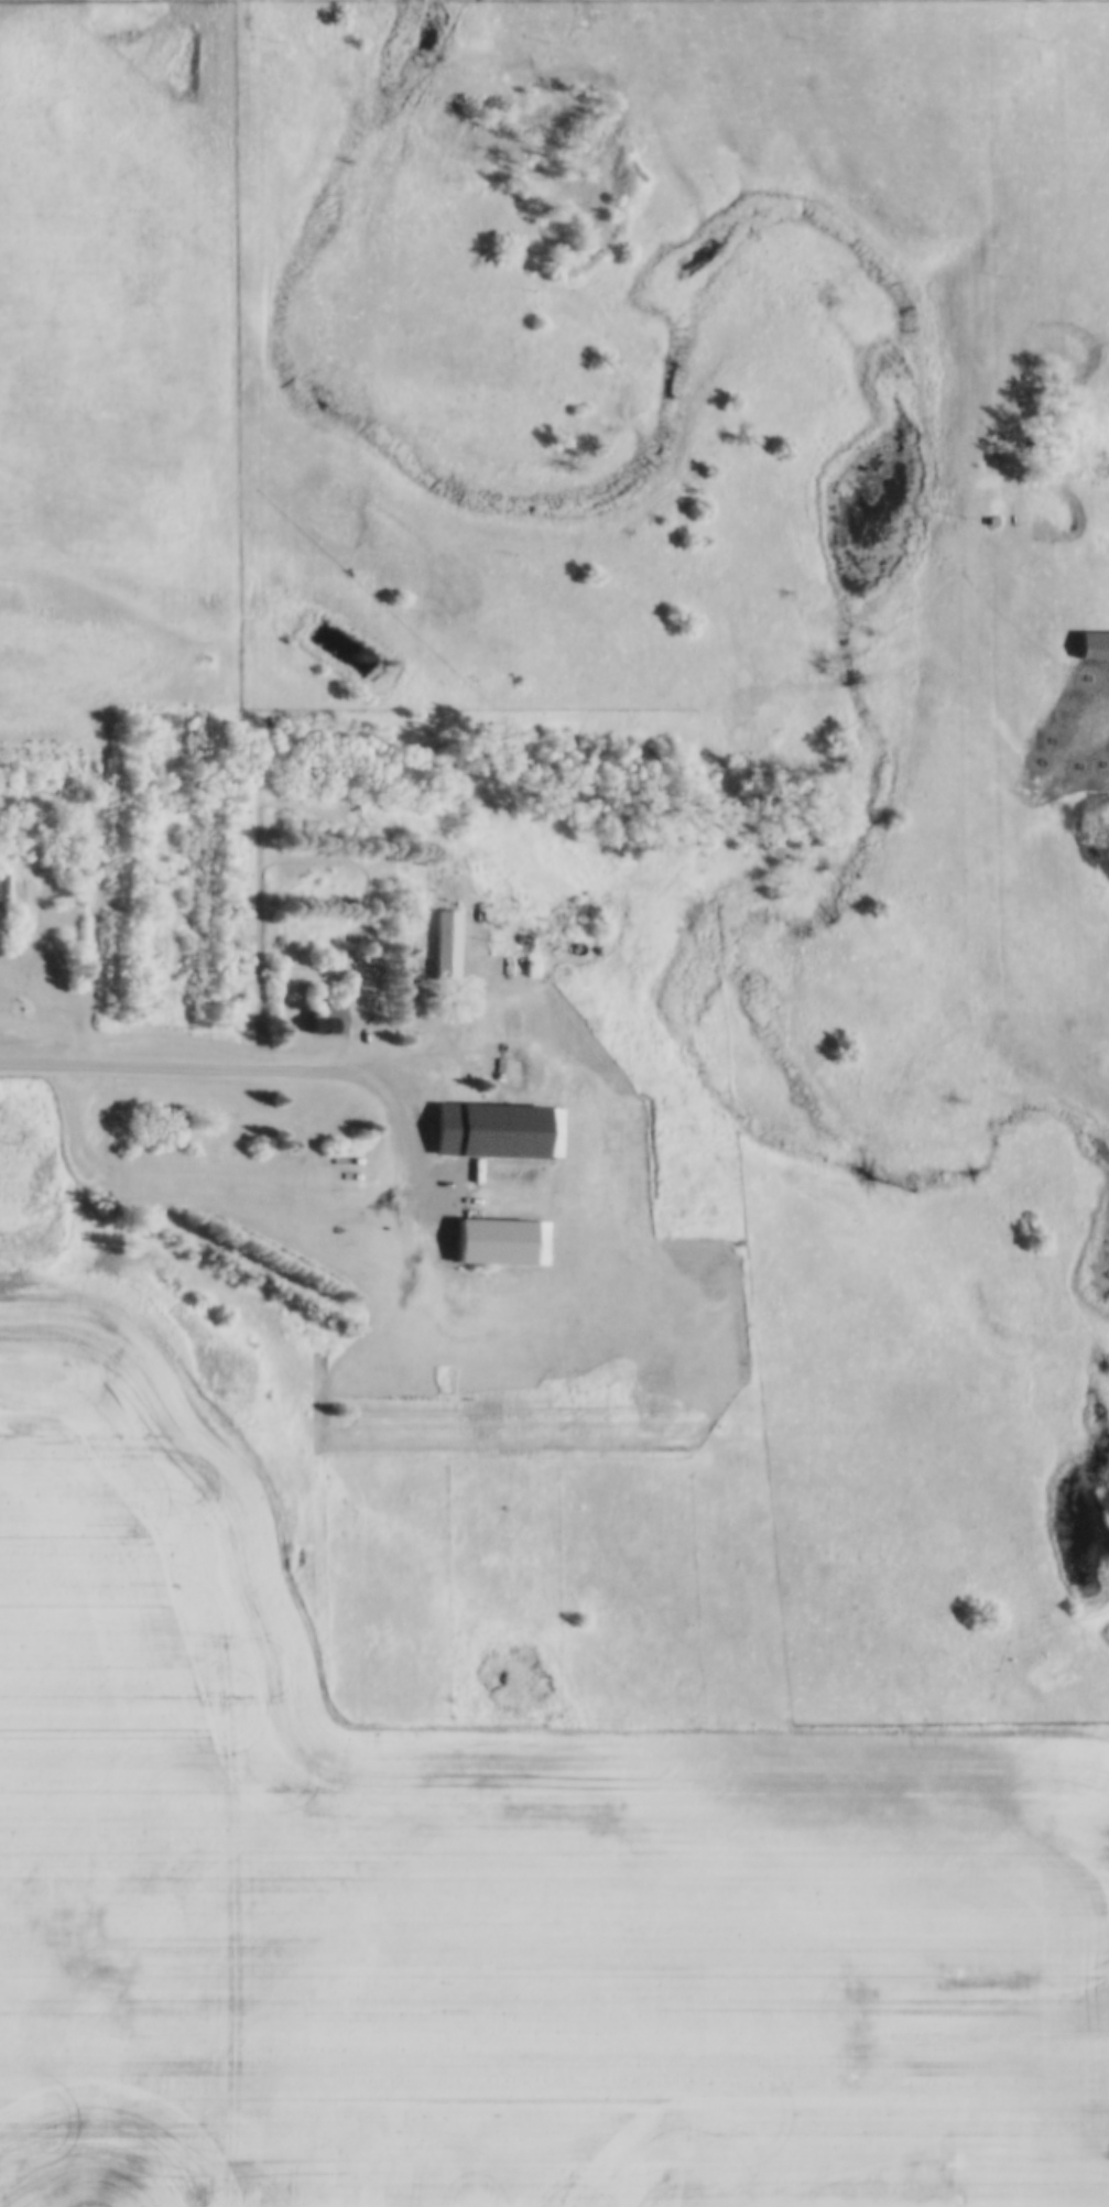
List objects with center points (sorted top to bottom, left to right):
building: (431, 966)
building: (522, 967)
building: (329, 1021)
road: (225, 1065)
building: (497, 1132)

